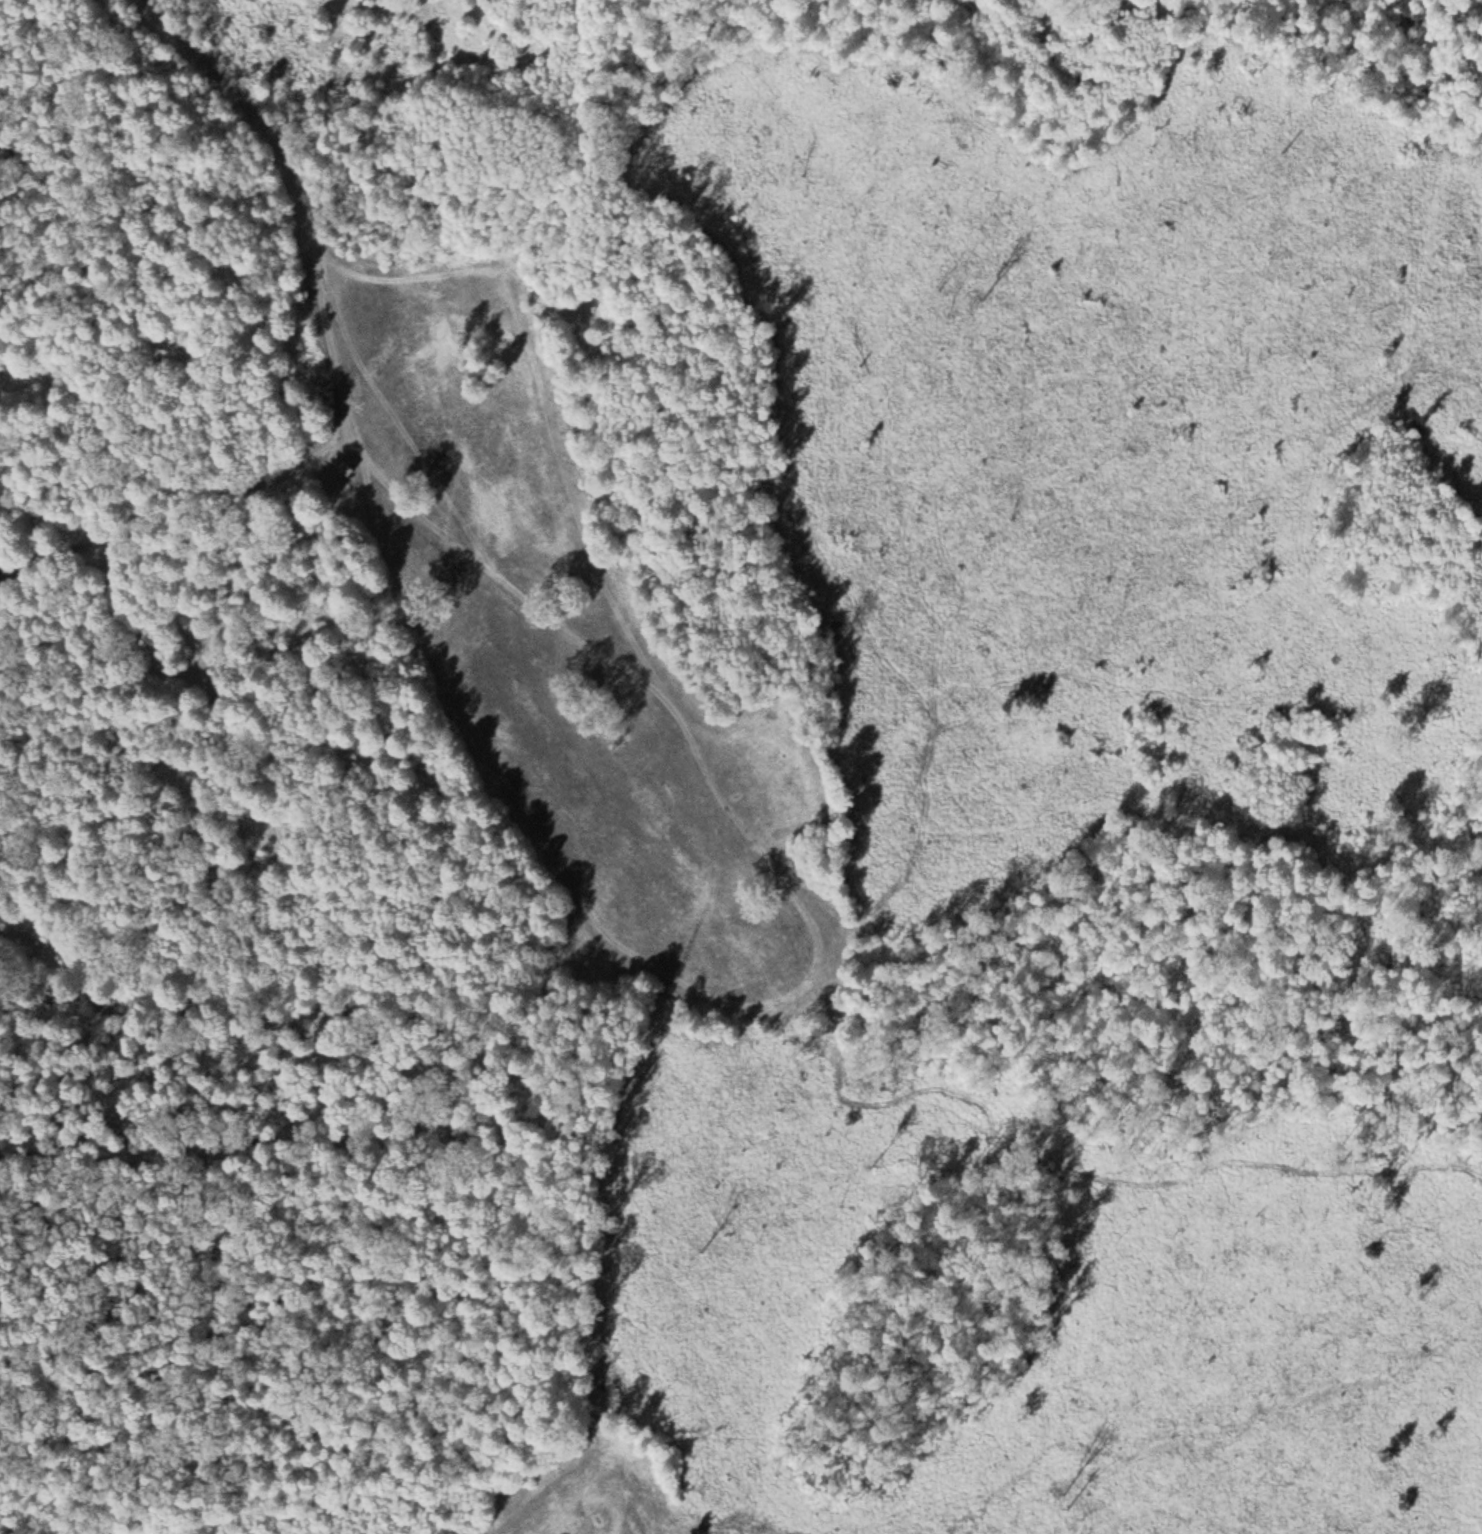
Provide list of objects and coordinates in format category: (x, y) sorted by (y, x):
road: (310, 213)
road: (177, 491)
building: (585, 944)
road: (689, 954)
road: (796, 1441)

